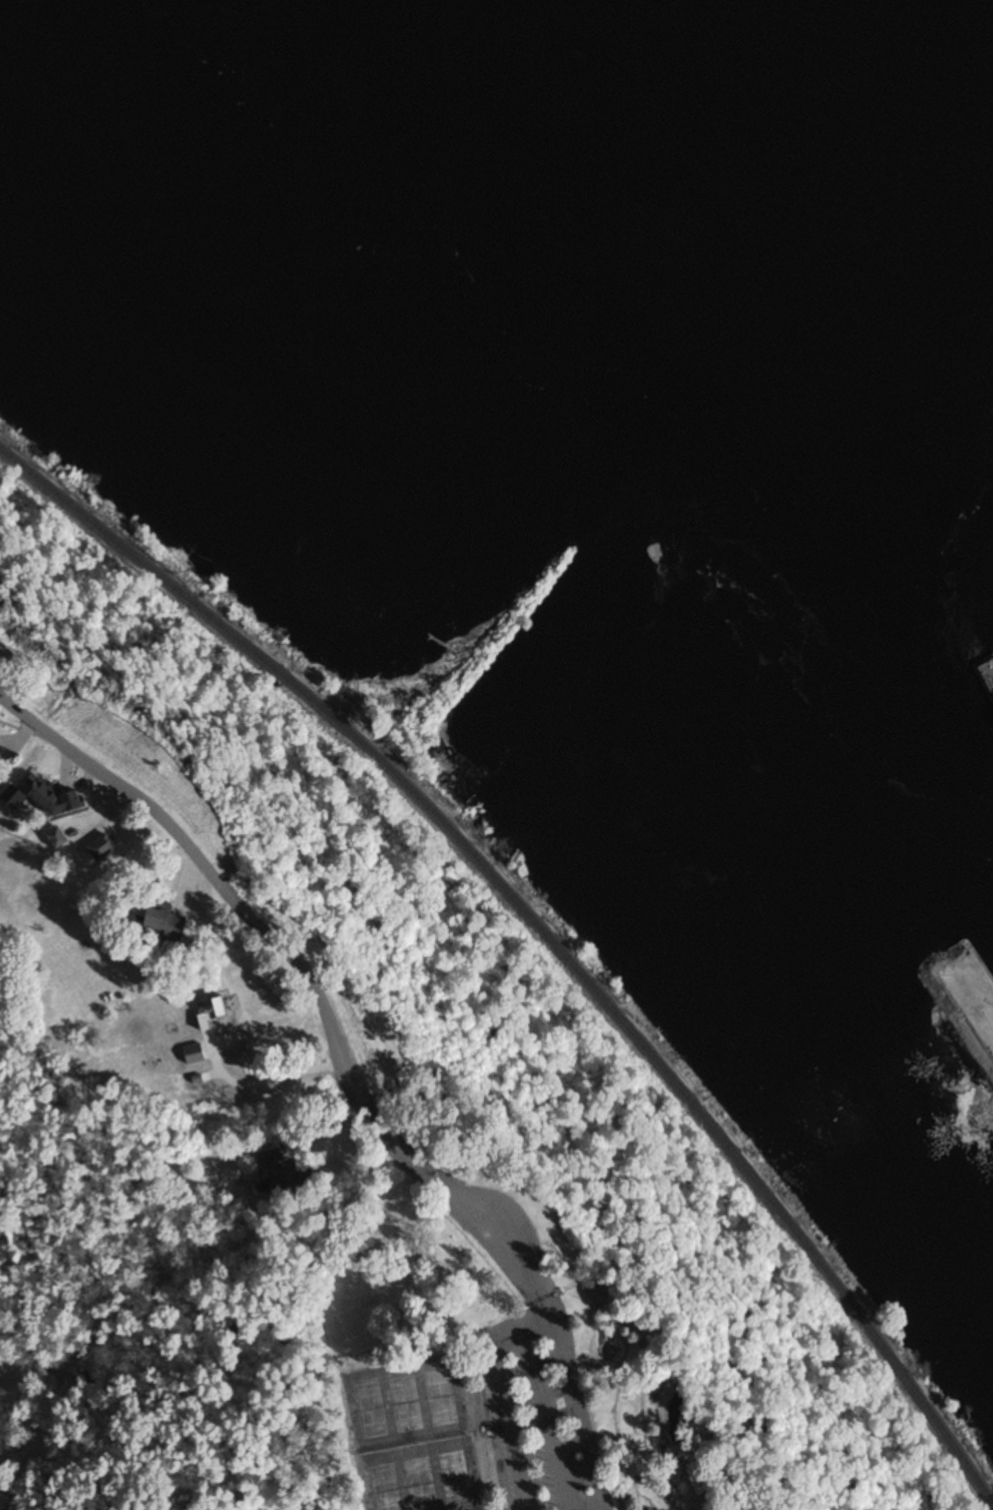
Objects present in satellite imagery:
river: (921, 187)
building: (4, 741)
building: (68, 804)
building: (67, 842)
building: (116, 852)
building: (181, 928)
railway: (545, 933)
road: (308, 964)
building: (225, 1012)
building: (198, 1056)
building: (274, 1167)
parking lot: (513, 1231)
park: (433, 1341)
park: (442, 1397)
road: (584, 1400)
park: (404, 1404)
road: (544, 1404)
park: (367, 1410)
parking lot: (547, 1410)
park: (456, 1474)
park: (417, 1477)
park: (380, 1480)
road: (701, 1487)

